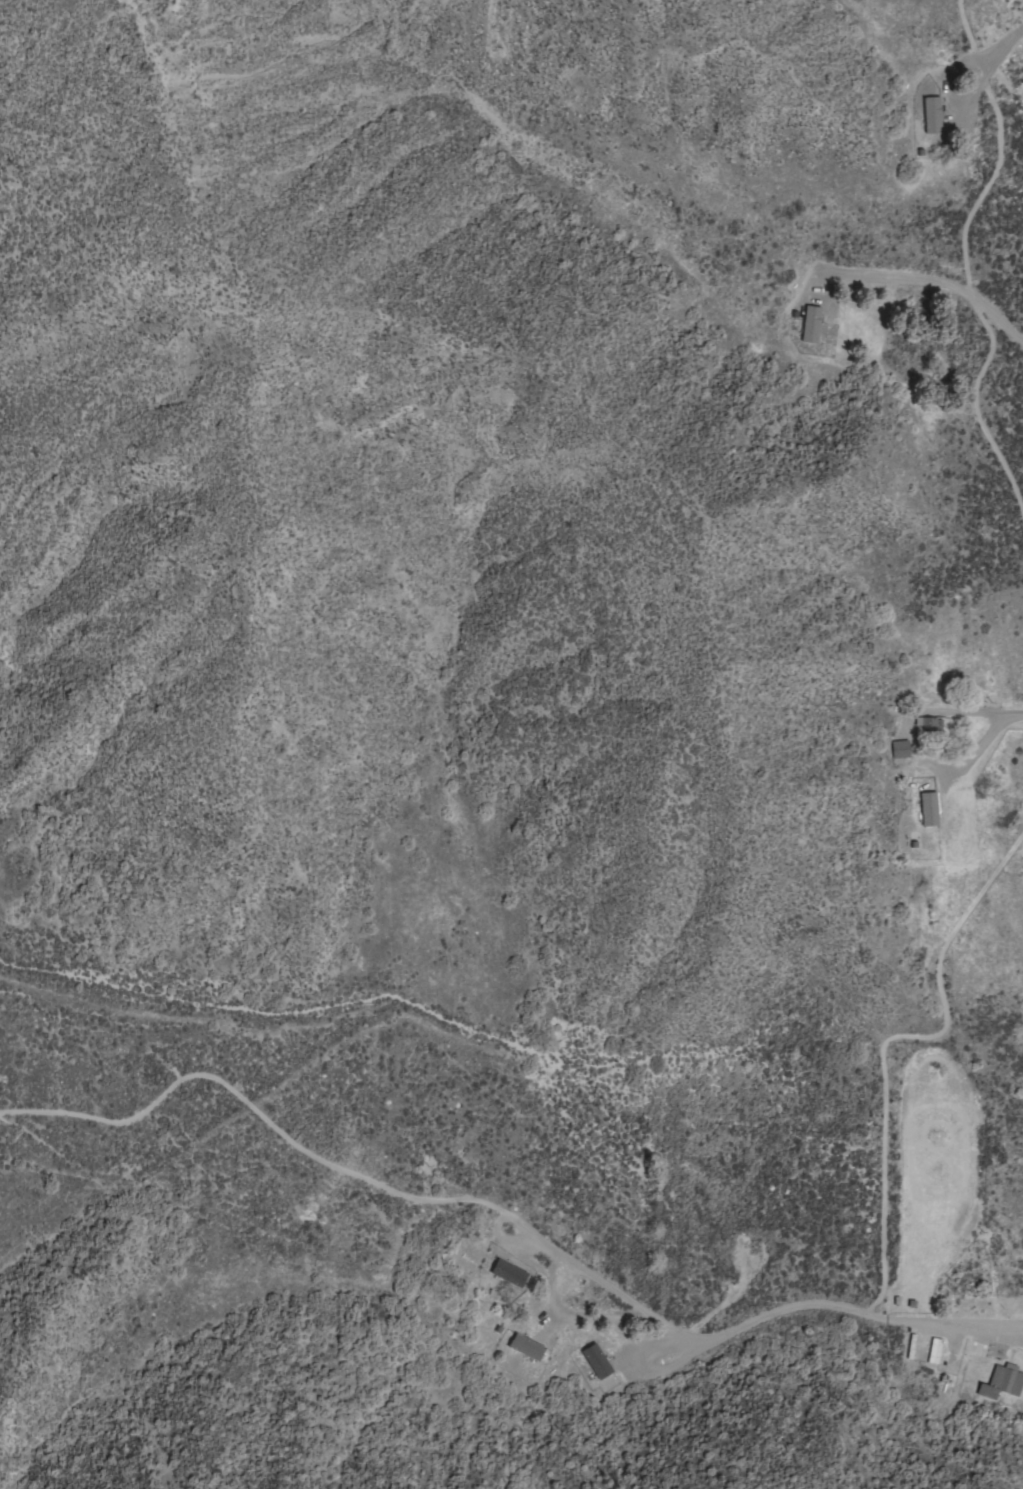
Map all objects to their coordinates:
road: (985, 65)
building: (934, 115)
building: (810, 325)
road: (1015, 713)
building: (928, 726)
road: (912, 743)
building: (899, 749)
building: (928, 809)
road: (256, 1112)
building: (507, 1273)
road: (748, 1317)
building: (910, 1346)
building: (525, 1347)
building: (933, 1350)
building: (596, 1361)
building: (1002, 1381)

